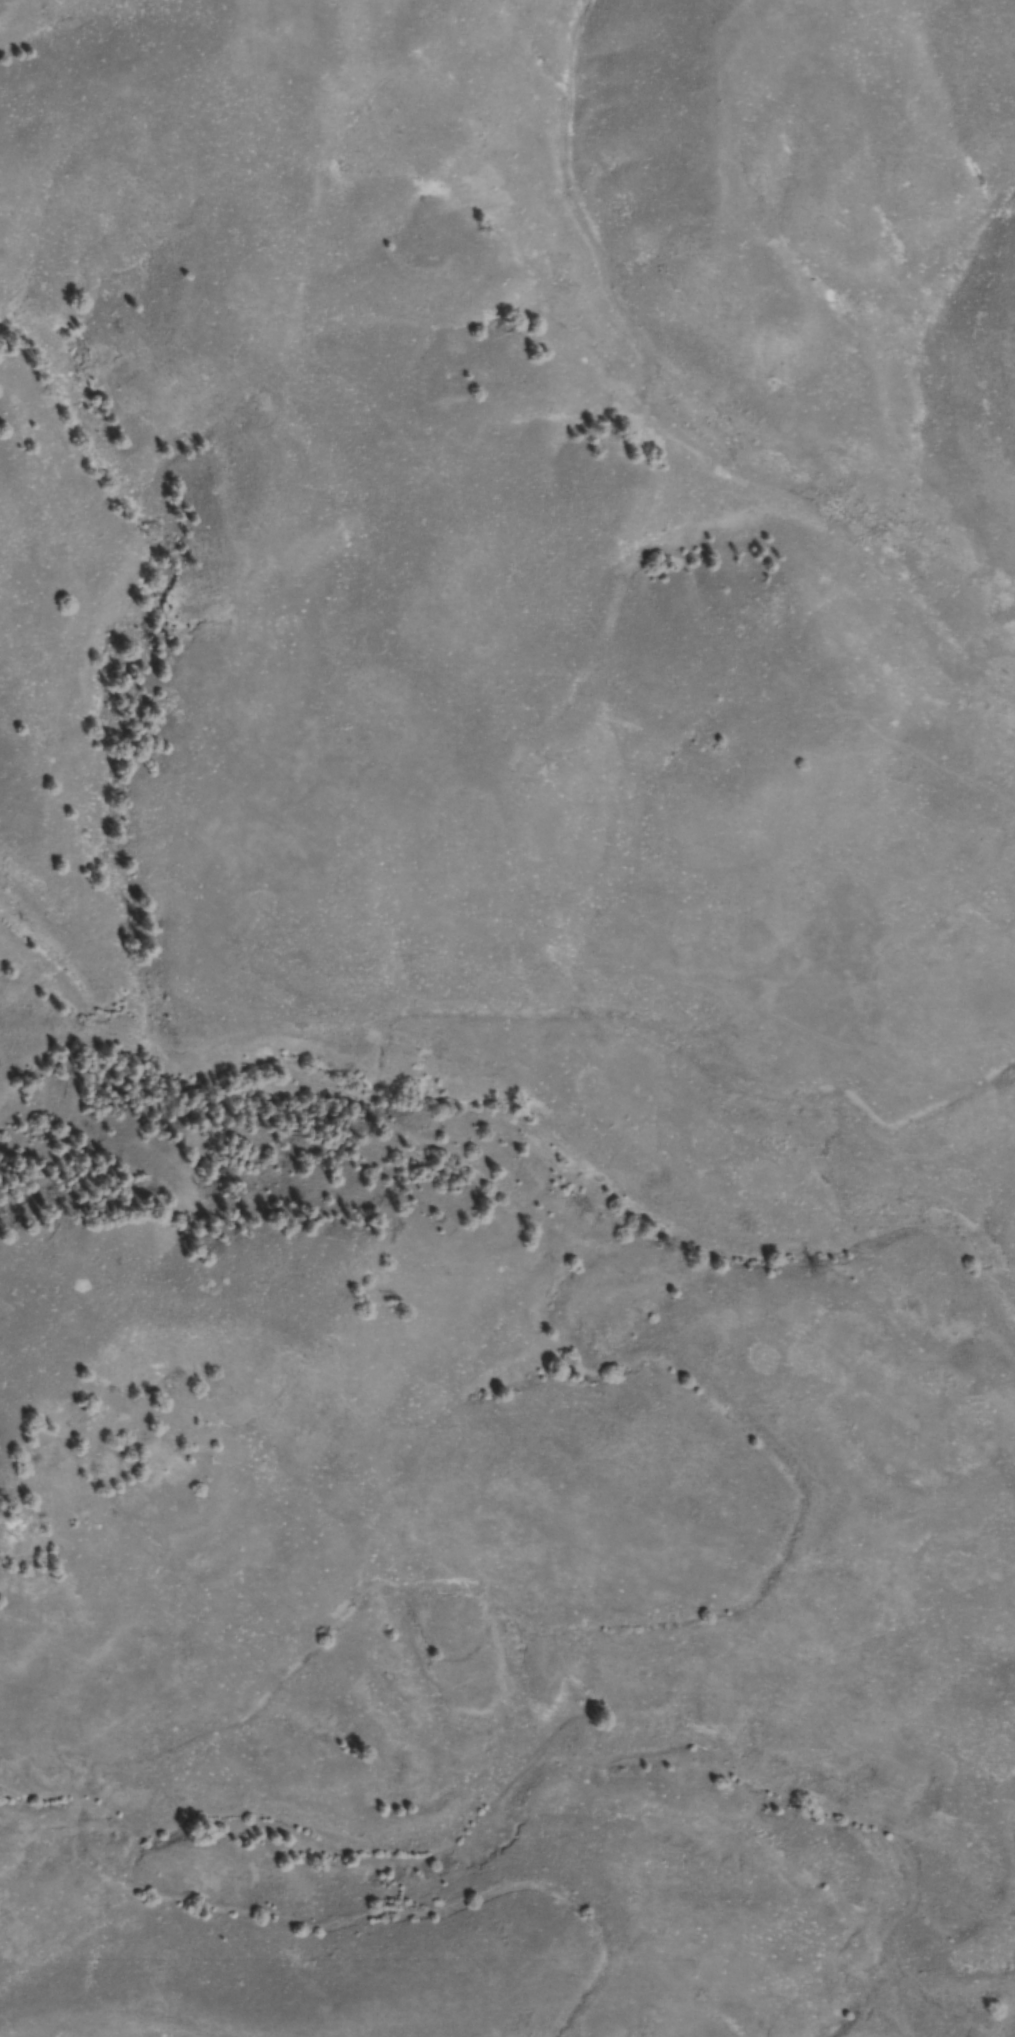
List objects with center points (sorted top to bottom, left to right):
park: (1008, 2032)

